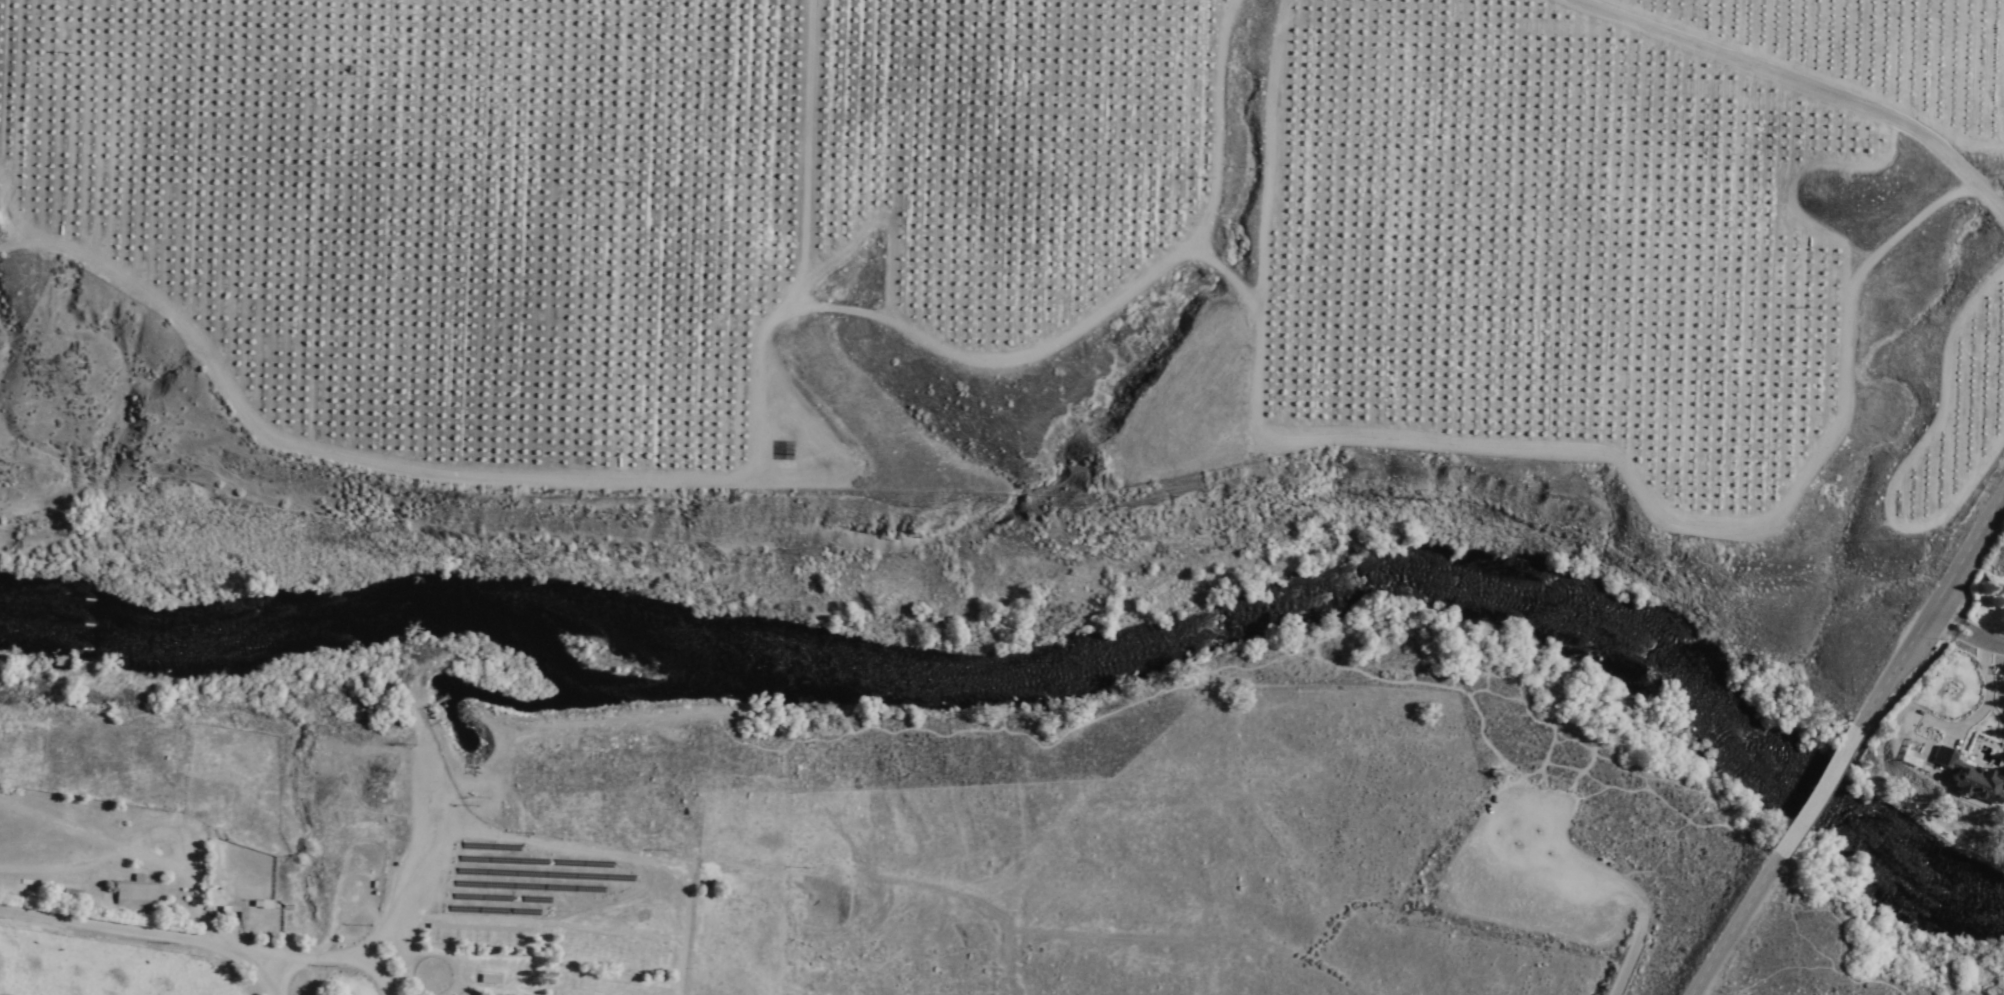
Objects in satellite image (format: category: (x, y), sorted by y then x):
road: (1783, 87)
crop: (985, 203)
crop: (75, 504)
road: (15, 543)
crop: (333, 561)
crop: (925, 567)
road: (1922, 621)
road: (1965, 631)
river: (1208, 634)
river: (154, 643)
road: (1986, 696)
building: (1969, 776)
parking lot: (1562, 872)
building: (137, 895)
building: (100, 900)
road: (1738, 916)
road: (164, 929)
crop: (118, 970)

